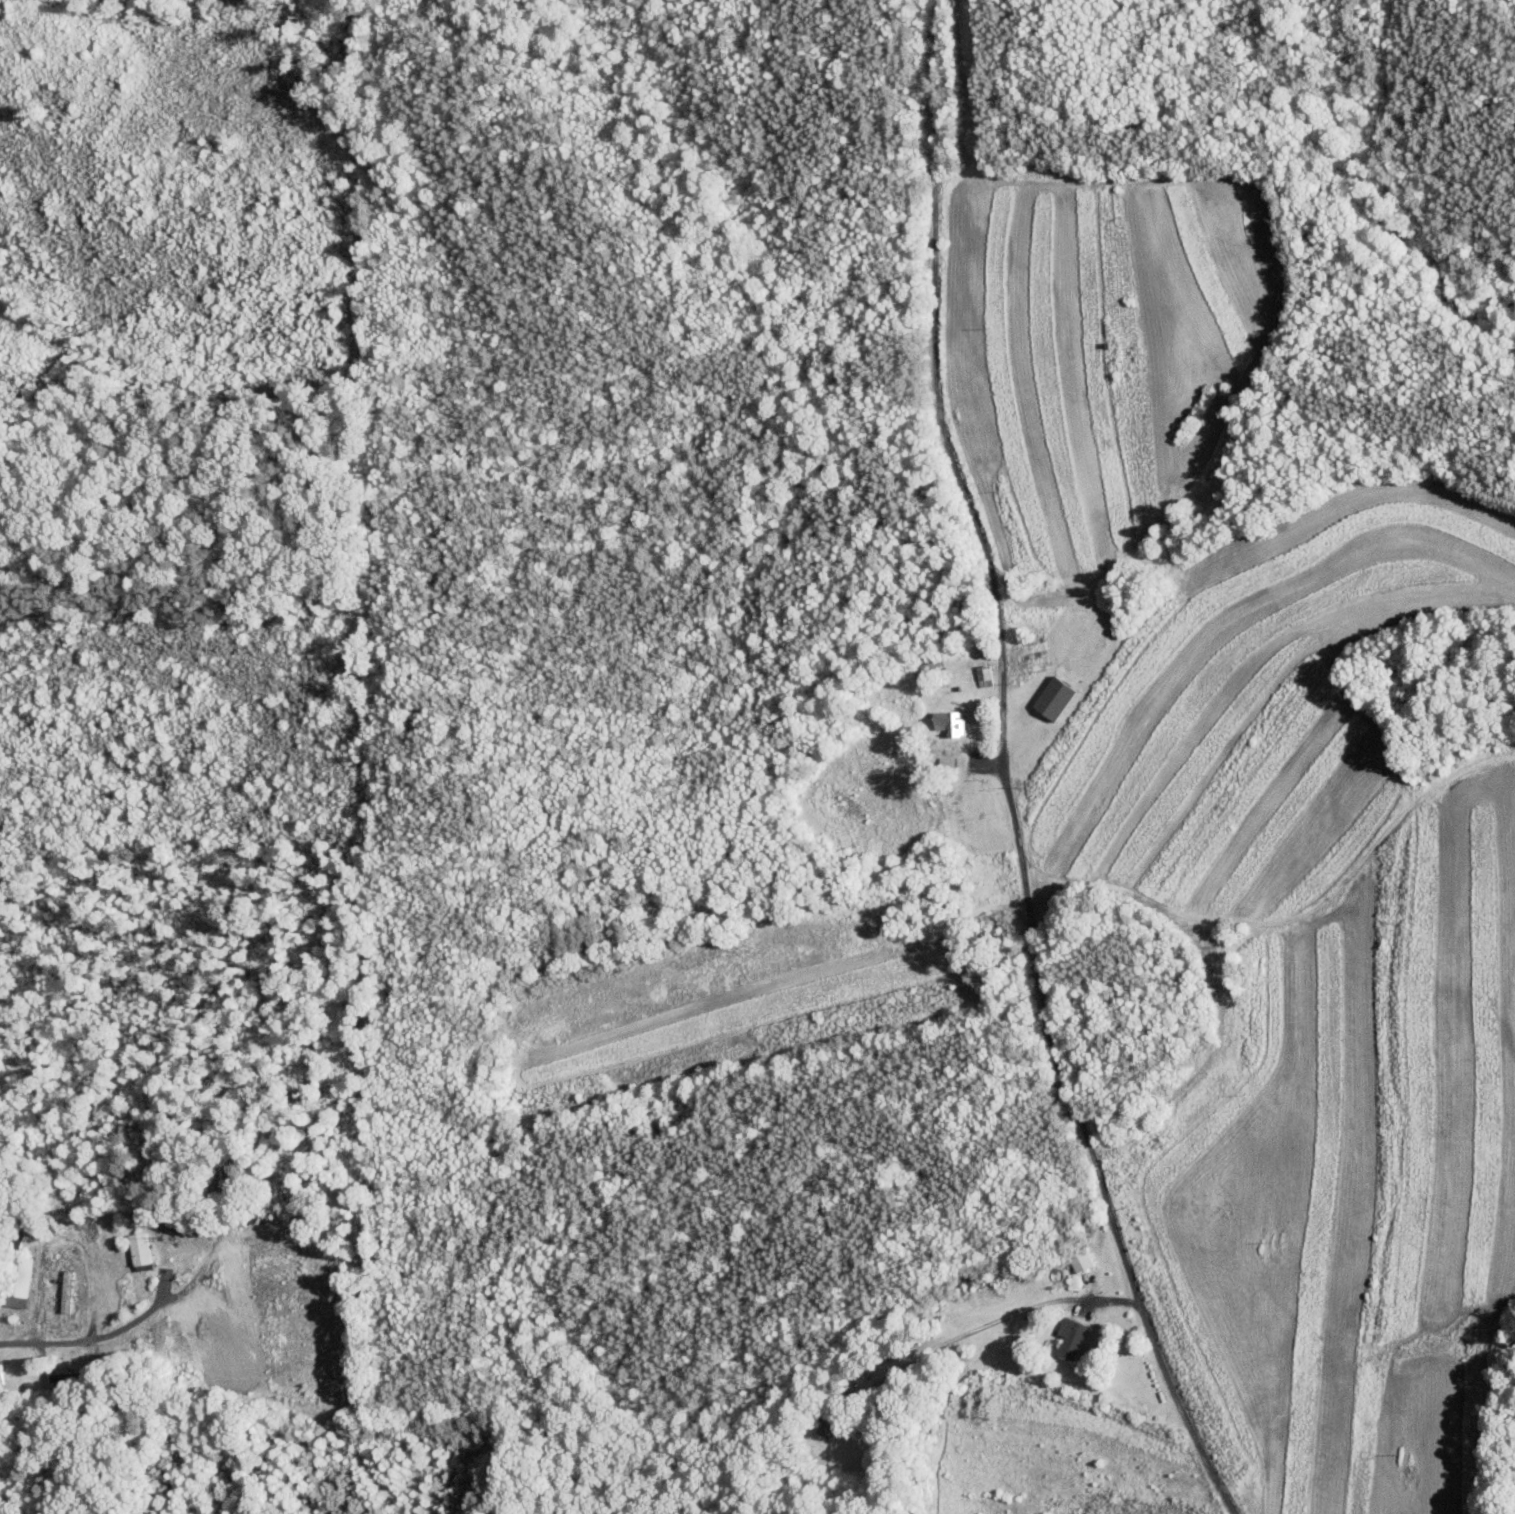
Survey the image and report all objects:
building: (985, 675)
building: (1056, 697)
building: (951, 722)
road: (1001, 772)
road: (57, 1238)
building: (140, 1249)
building: (1082, 1262)
building: (21, 1285)
road: (131, 1322)
road: (984, 1323)
building: (1071, 1337)
building: (0, 1374)

